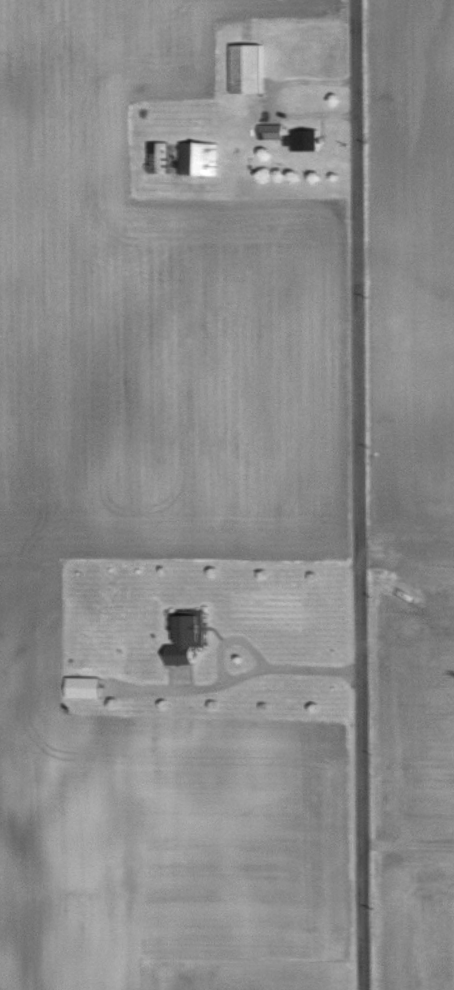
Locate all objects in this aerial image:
building: (244, 69)
building: (288, 137)
building: (156, 158)
building: (197, 159)
road: (358, 494)
building: (184, 637)
road: (245, 669)
building: (82, 688)
road: (407, 844)

